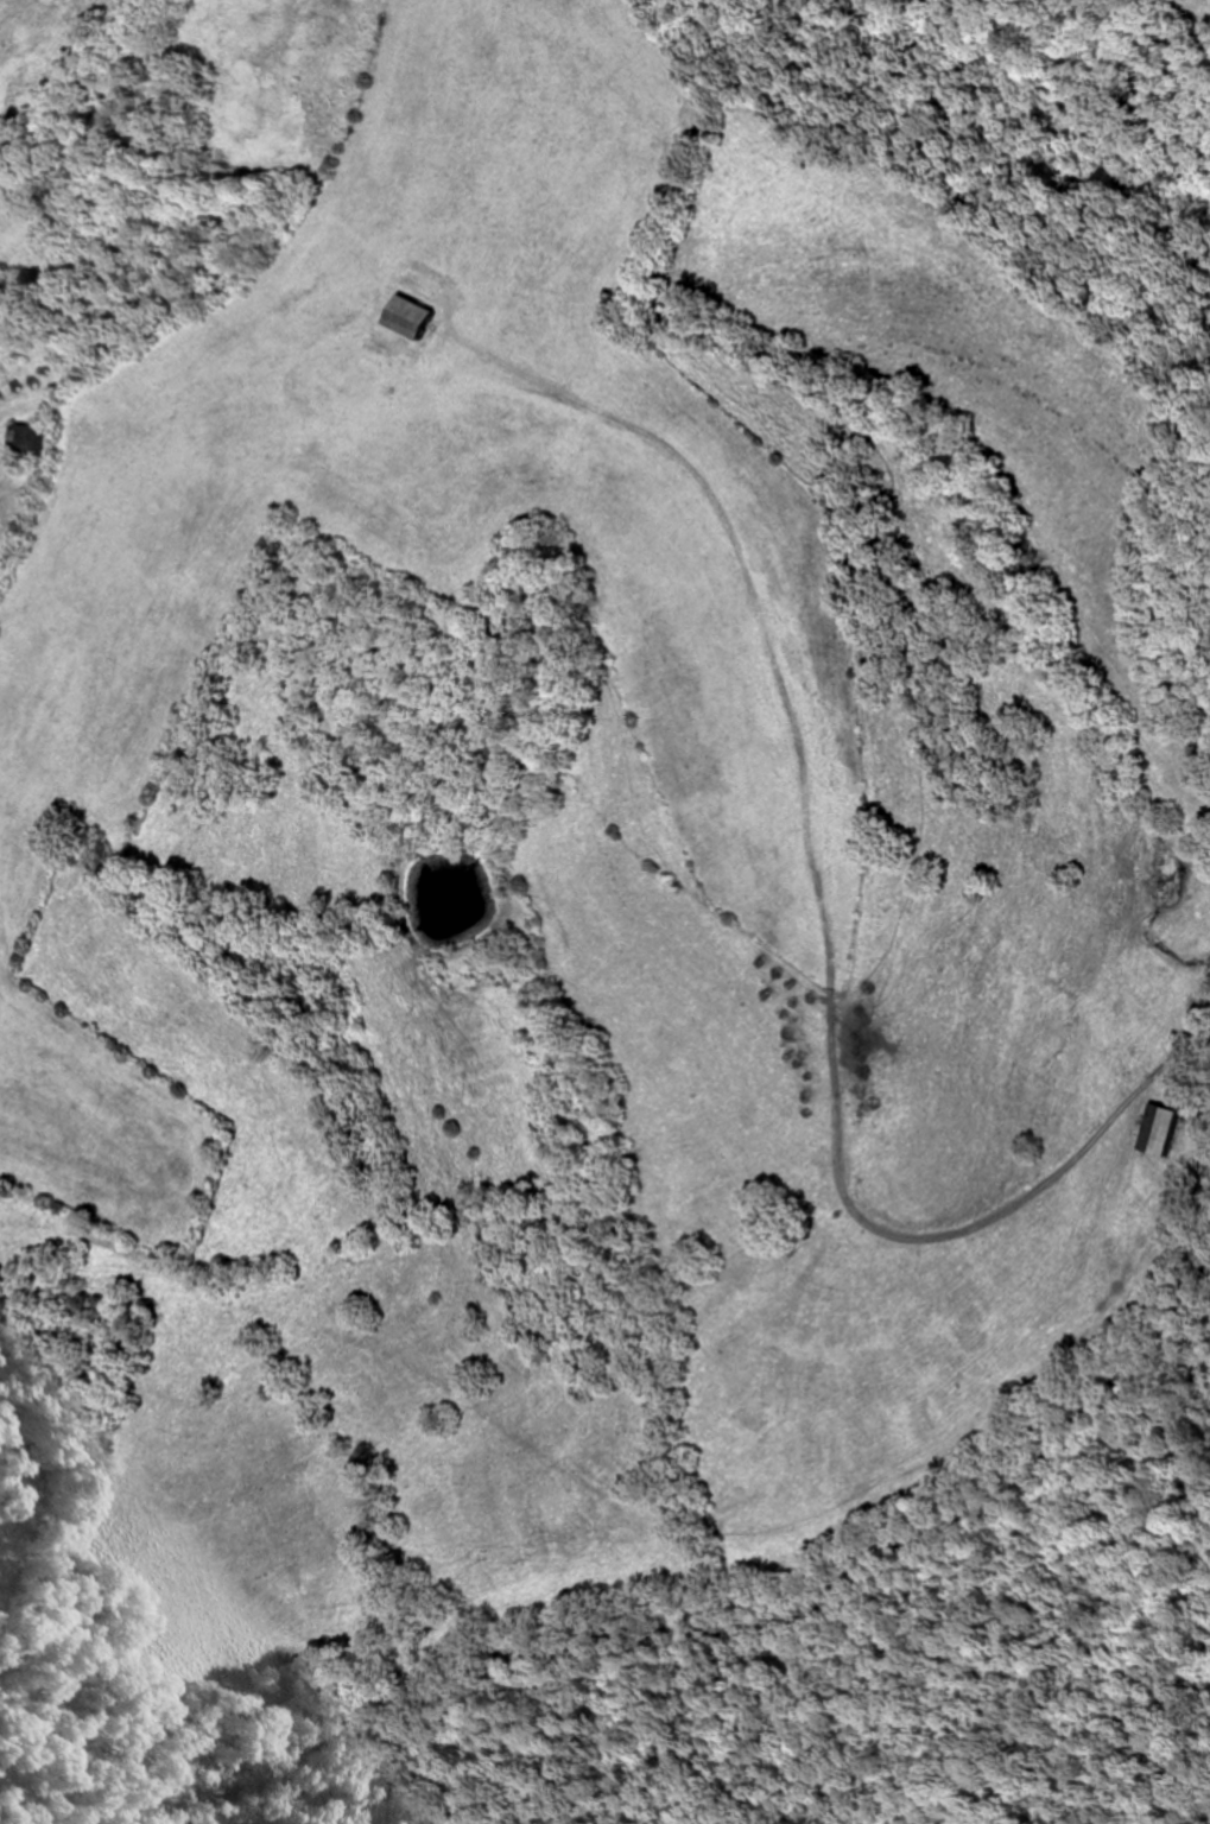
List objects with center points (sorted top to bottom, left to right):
building: (424, 317)
building: (42, 441)
building: (1163, 1128)

